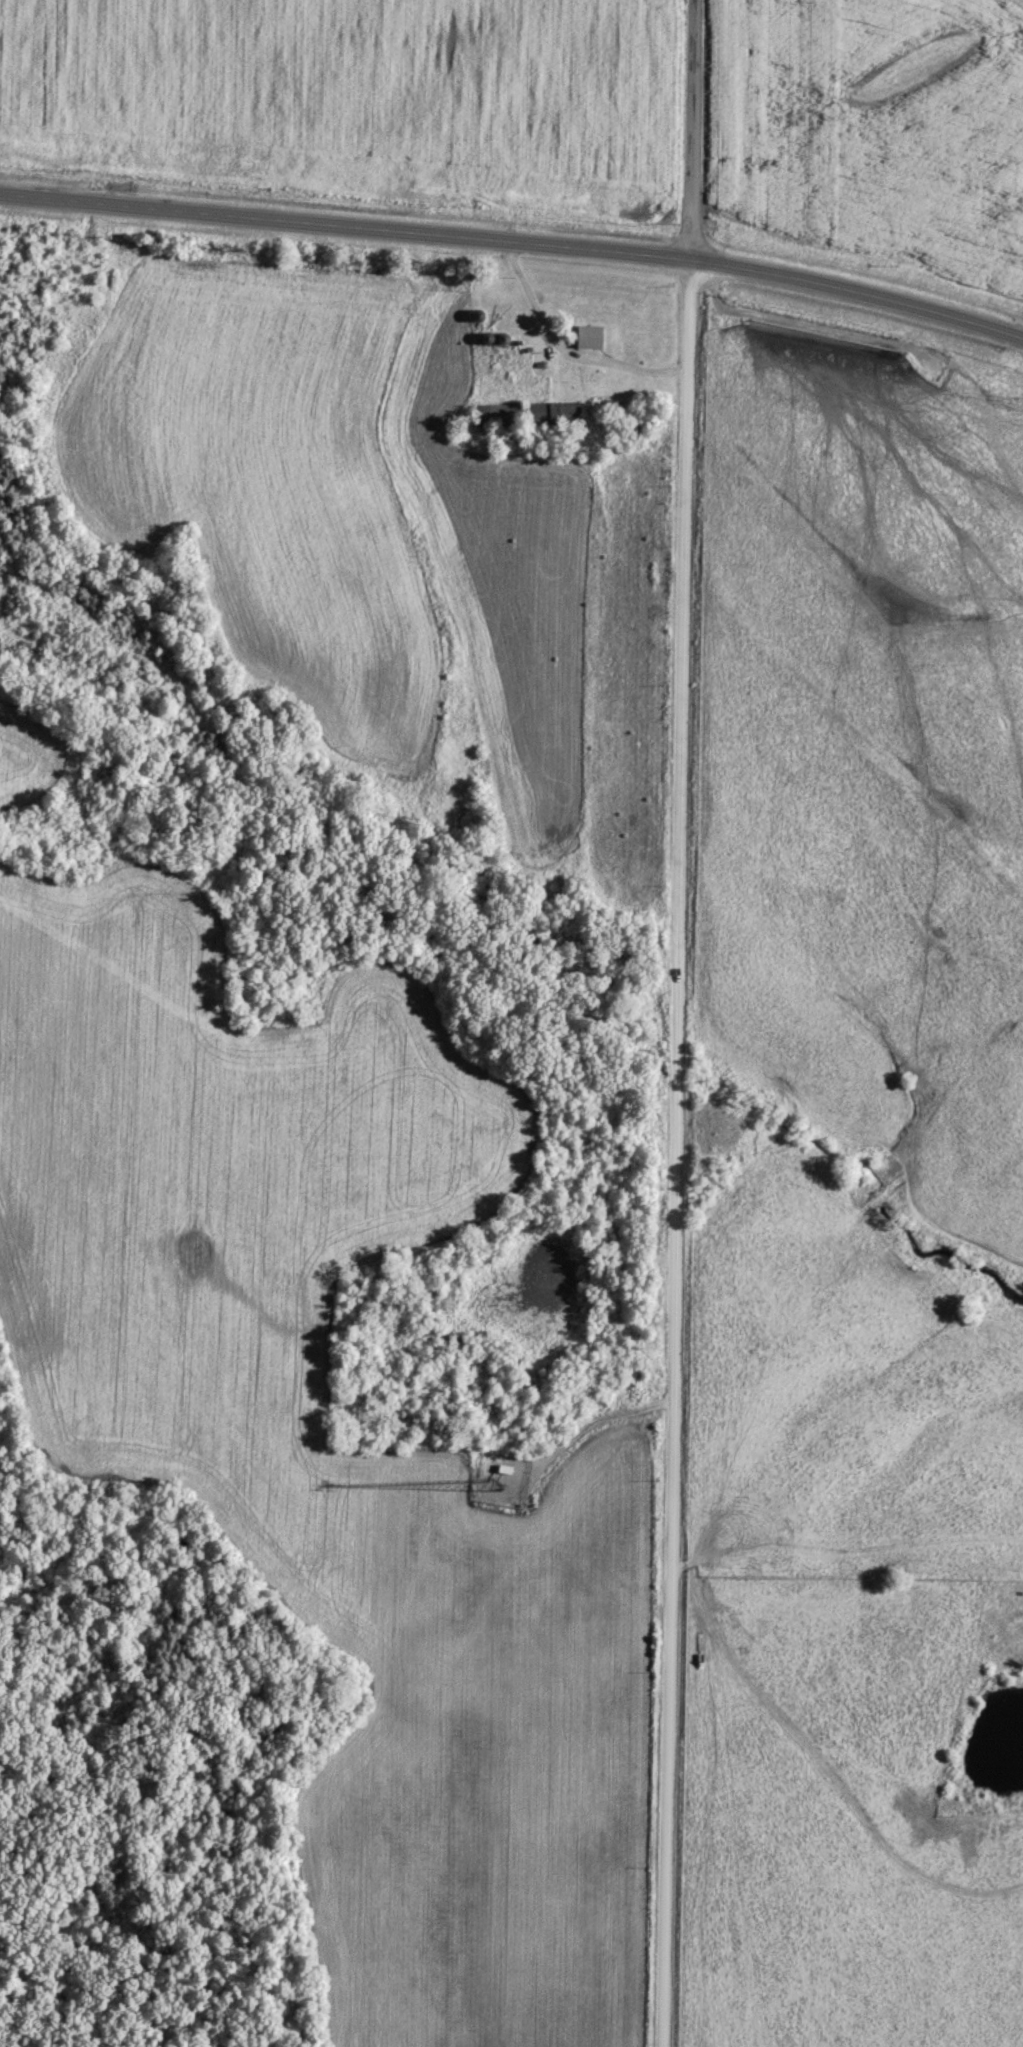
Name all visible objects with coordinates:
road: (693, 128)
road: (515, 239)
building: (585, 335)
building: (526, 410)
road: (680, 1152)

